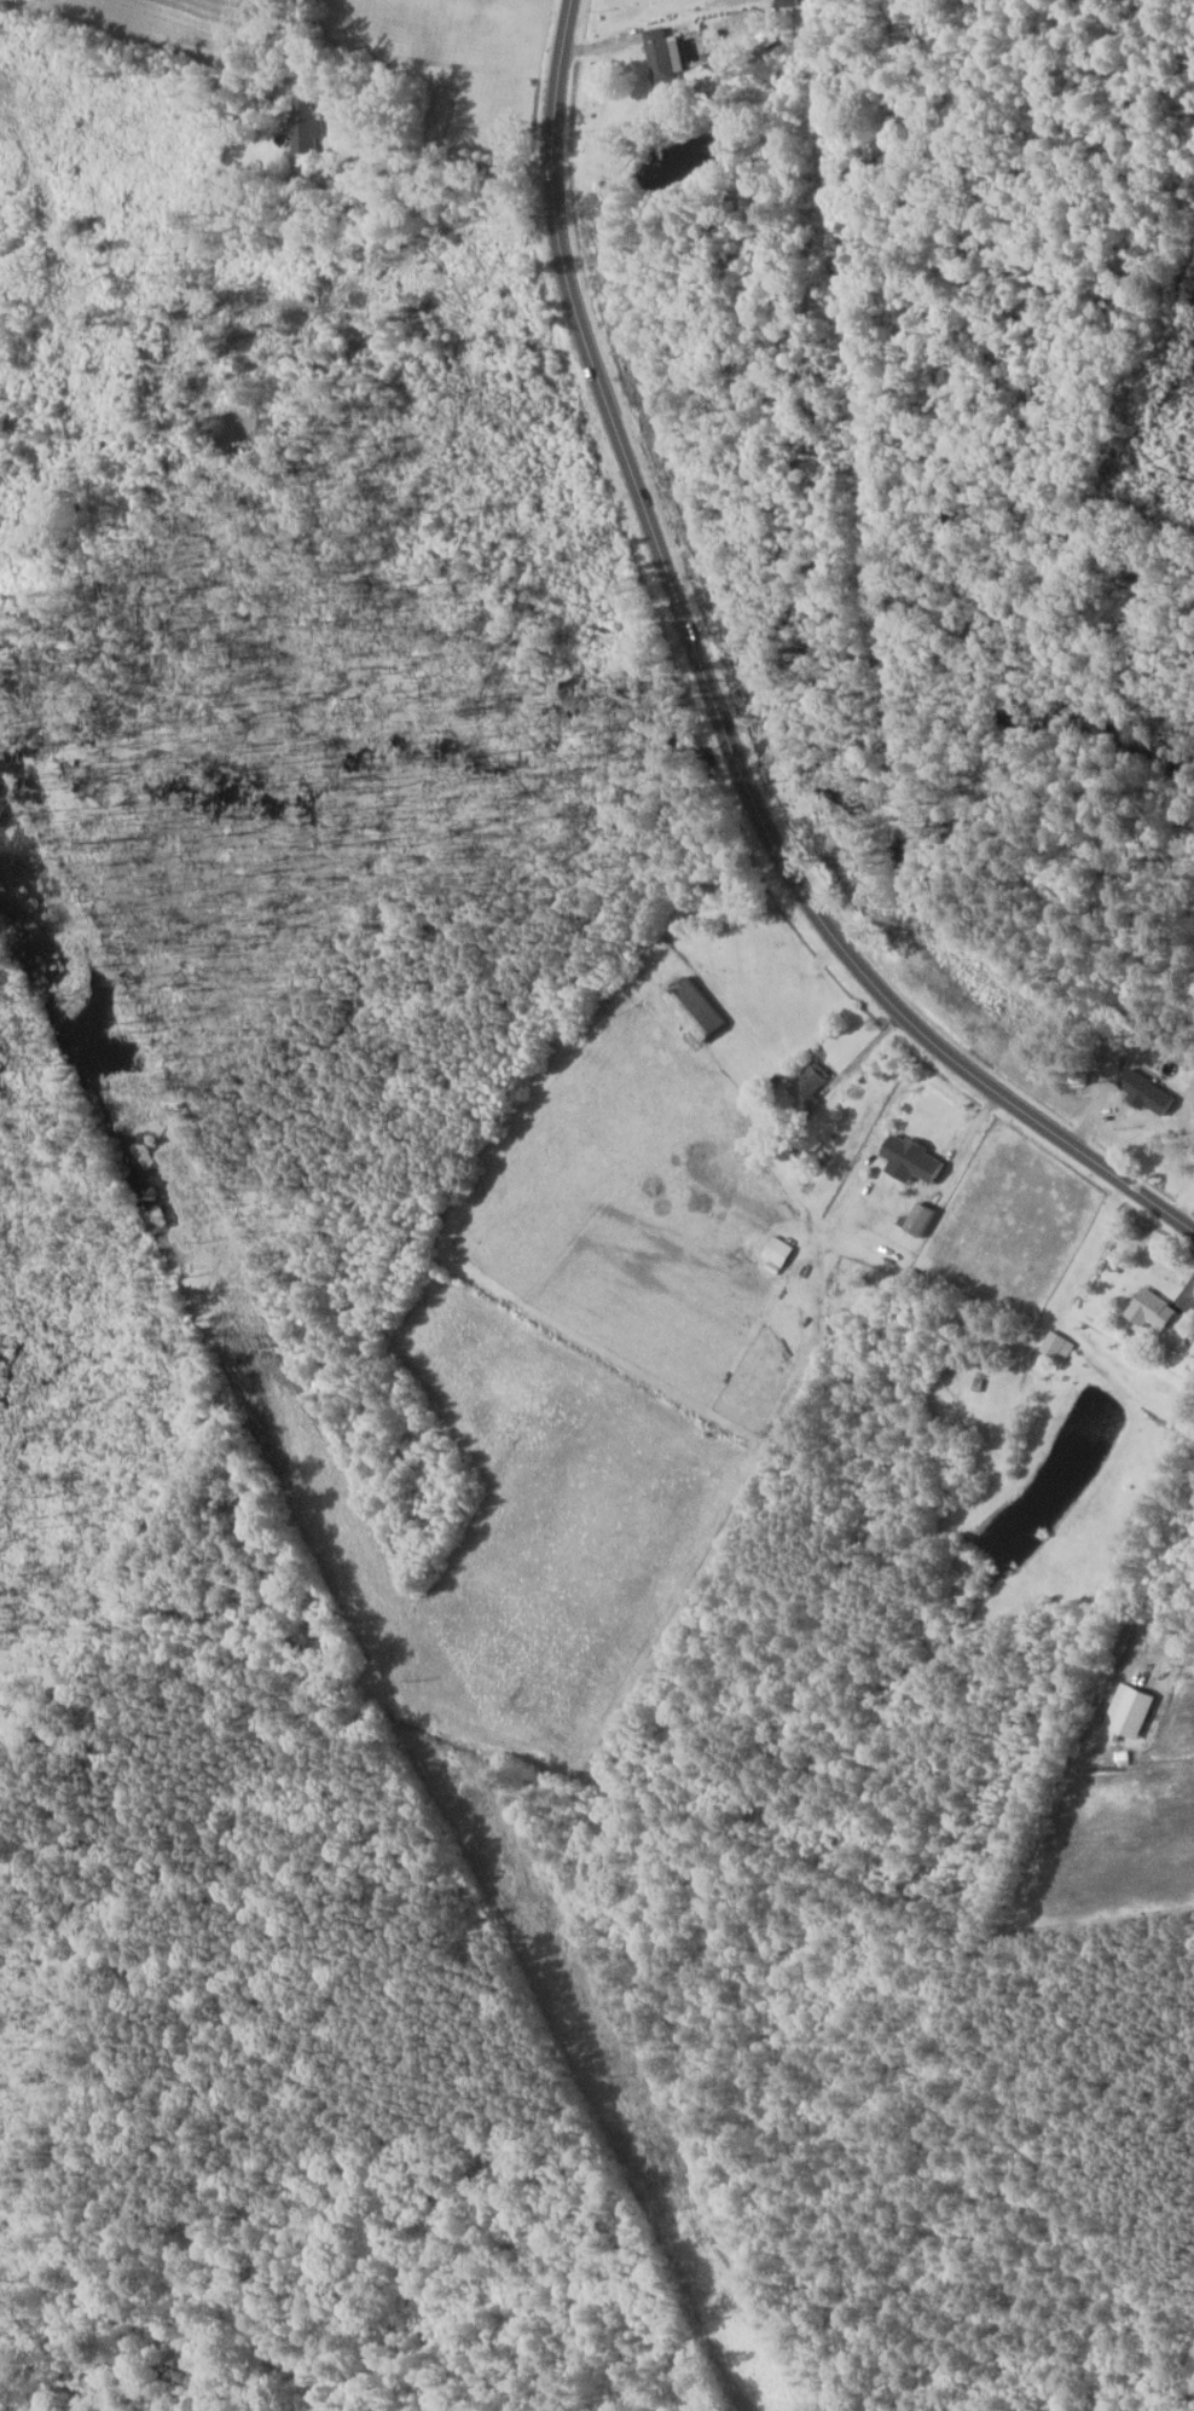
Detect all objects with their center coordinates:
building: (668, 54)
building: (309, 122)
road: (714, 703)
building: (689, 1006)
building: (805, 1083)
building: (915, 1219)
building: (1144, 1309)
building: (1124, 1711)

